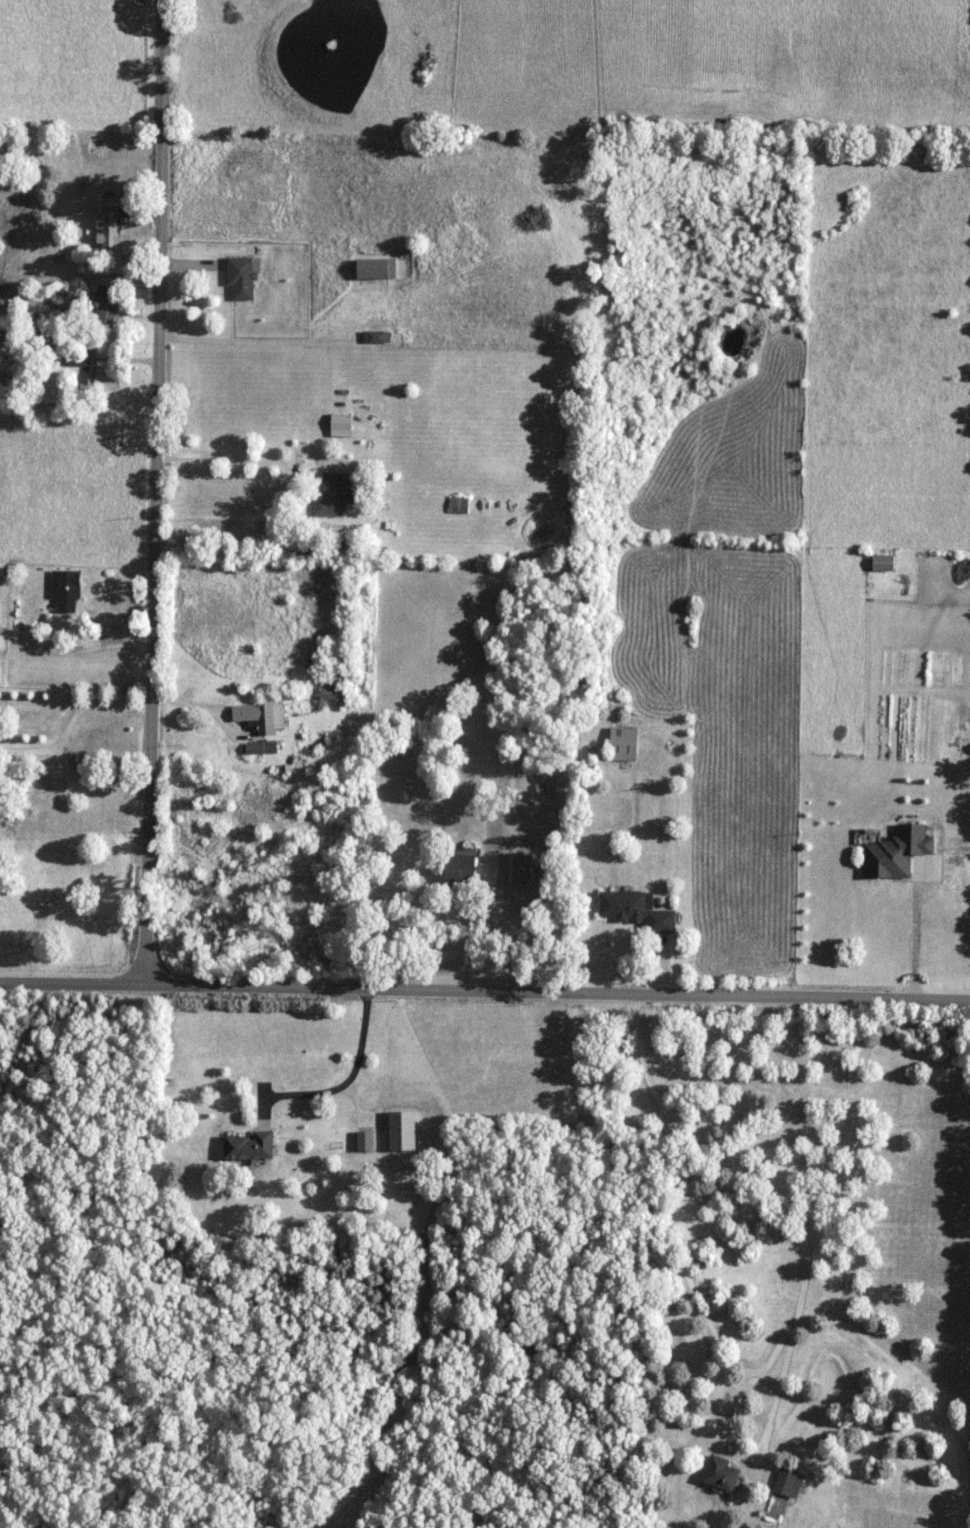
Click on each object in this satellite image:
building: (99, 142)
building: (108, 226)
building: (378, 269)
building: (241, 278)
building: (107, 305)
building: (377, 337)
building: (78, 358)
building: (104, 380)
building: (341, 424)
road: (153, 489)
building: (335, 496)
building: (459, 502)
road: (294, 507)
building: (66, 591)
building: (333, 696)
road: (197, 705)
building: (261, 716)
road: (63, 737)
building: (623, 745)
road: (31, 749)
building: (897, 853)
building: (523, 869)
building: (461, 870)
road: (494, 903)
building: (637, 910)
road: (913, 926)
road: (484, 987)
road: (343, 1082)
building: (365, 1142)
building: (249, 1147)
road: (783, 1200)
building: (721, 1474)
building: (788, 1483)

